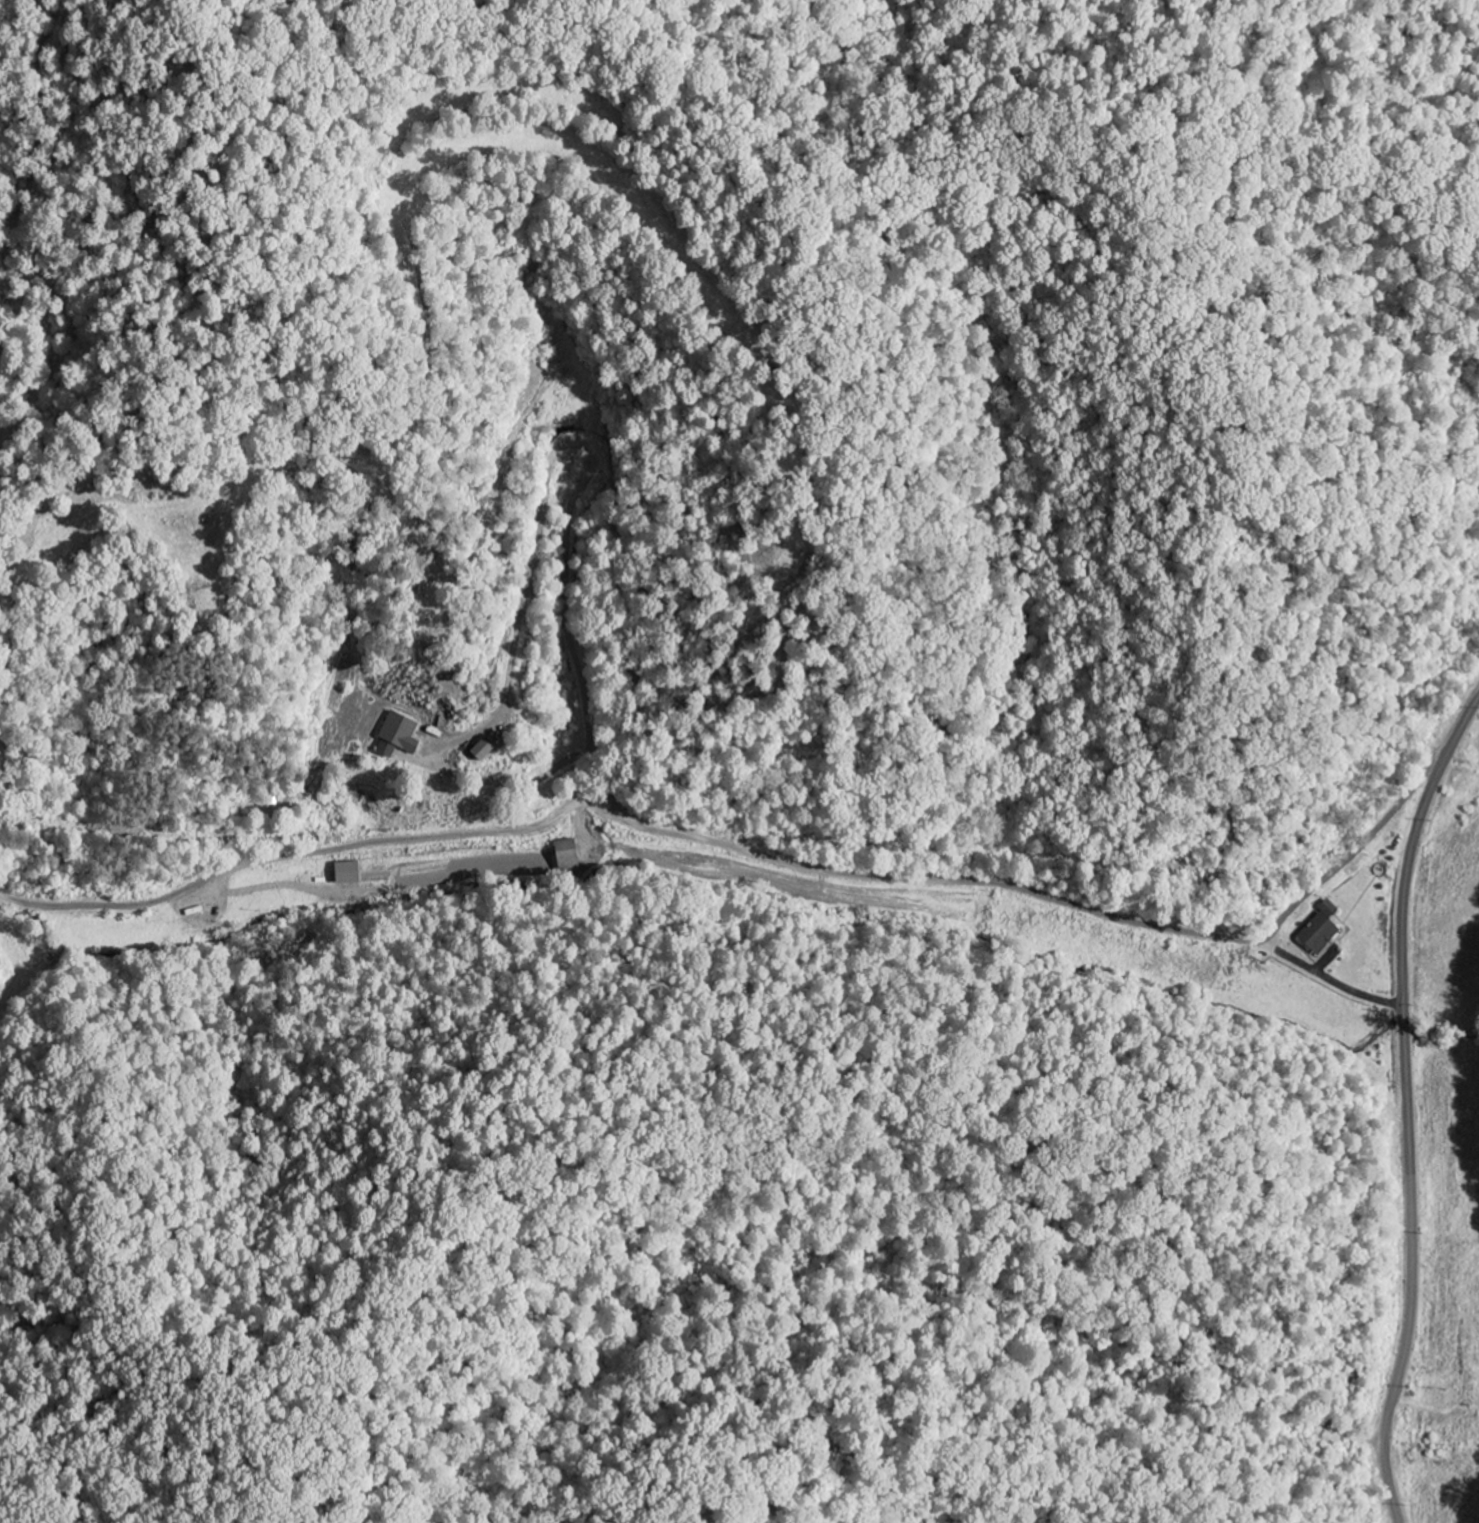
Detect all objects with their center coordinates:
road: (763, 678)
building: (402, 736)
building: (488, 750)
building: (571, 853)
road: (763, 855)
building: (353, 873)
building: (1325, 908)
building: (1315, 934)
road: (1332, 970)
road: (1407, 1105)

